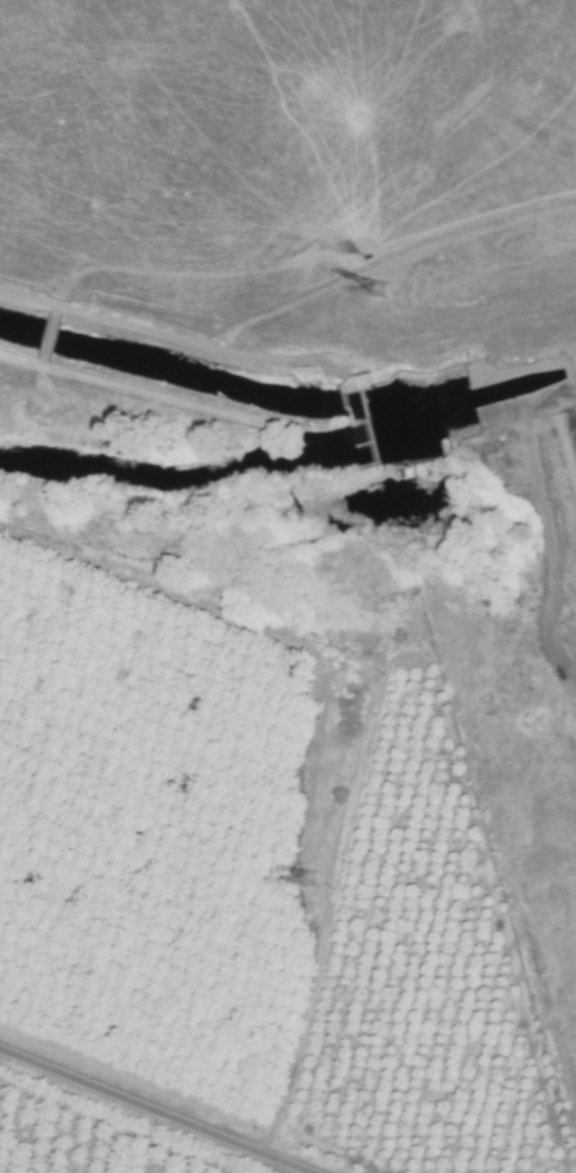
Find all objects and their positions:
power tower: (381, 290)
power tower: (308, 881)
road: (154, 1111)

